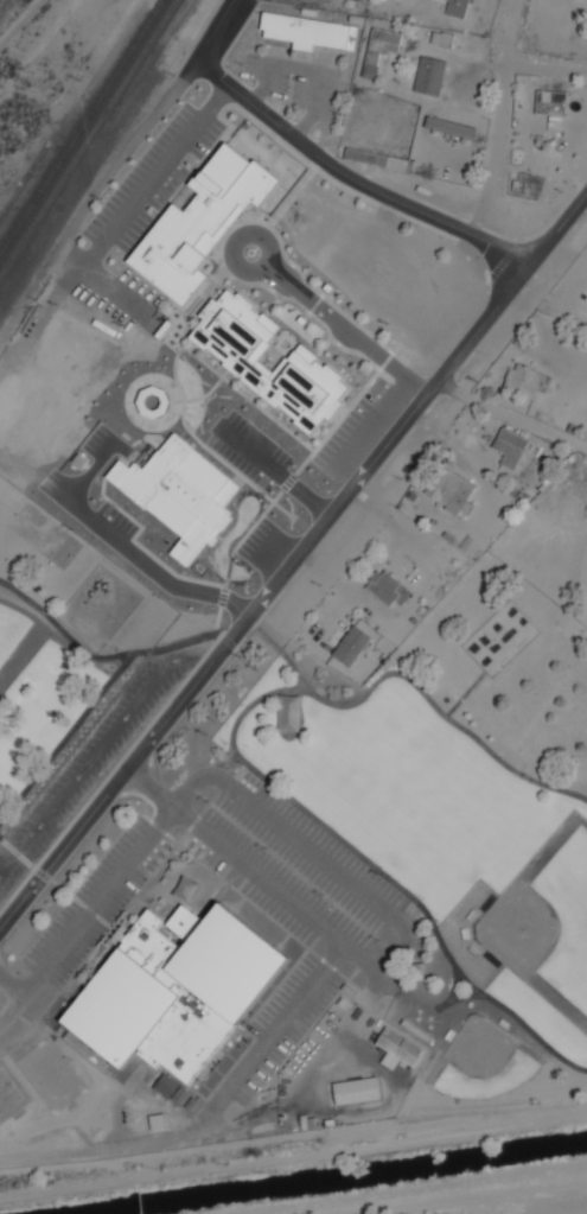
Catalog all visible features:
building: (458, 8)
building: (310, 31)
road: (205, 44)
building: (378, 49)
road: (545, 65)
building: (429, 76)
building: (550, 101)
road: (499, 121)
railway: (81, 126)
building: (449, 127)
railway: (88, 138)
road: (153, 180)
road: (368, 190)
building: (197, 225)
road: (237, 237)
road: (31, 291)
road: (344, 331)
building: (269, 364)
building: (525, 380)
road: (511, 418)
road: (366, 428)
building: (509, 447)
building: (449, 490)
building: (180, 496)
park: (46, 538)
road: (295, 559)
building: (385, 587)
building: (17, 635)
park: (17, 635)
building: (352, 646)
road: (193, 654)
road: (84, 771)
road: (96, 913)
road: (397, 920)
park: (547, 921)
building: (172, 986)
road: (15, 1012)
building: (398, 1049)
park: (481, 1059)
park: (53, 1076)
building: (173, 1089)
building: (357, 1091)
park: (11, 1094)

